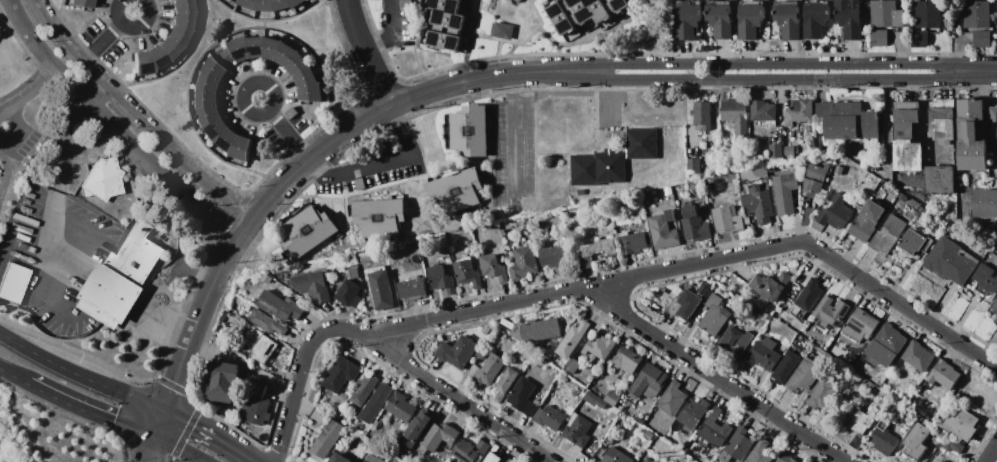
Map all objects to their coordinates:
road: (2, 0)
building: (236, 1)
building: (517, 1)
building: (296, 2)
building: (80, 3)
building: (248, 3)
building: (281, 4)
building: (406, 4)
building: (619, 4)
road: (139, 5)
building: (265, 5)
building: (305, 5)
building: (182, 6)
building: (590, 9)
building: (448, 13)
building: (886, 14)
building: (928, 14)
building: (976, 15)
building: (996, 16)
building: (561, 18)
building: (850, 18)
building: (815, 19)
building: (182, 20)
building: (789, 20)
building: (688, 21)
building: (721, 21)
building: (751, 21)
road: (391, 31)
building: (503, 31)
building: (177, 35)
road: (107, 36)
building: (879, 38)
building: (918, 39)
building: (982, 39)
building: (444, 40)
building: (255, 46)
building: (167, 48)
building: (238, 48)
building: (270, 48)
building: (285, 53)
road: (367, 55)
building: (155, 57)
building: (225, 57)
building: (141, 63)
park: (11, 64)
building: (297, 64)
building: (214, 68)
road: (602, 72)
building: (305, 77)
building: (209, 83)
building: (310, 92)
road: (26, 96)
building: (207, 99)
building: (763, 111)
building: (799, 112)
building: (291, 113)
building: (993, 114)
building: (209, 115)
building: (701, 115)
road: (135, 117)
building: (736, 117)
building: (846, 120)
building: (904, 120)
road: (114, 127)
building: (217, 129)
road: (66, 130)
road: (284, 130)
building: (469, 131)
building: (944, 134)
building: (971, 136)
building: (228, 139)
road: (512, 139)
building: (641, 144)
building: (241, 148)
building: (775, 151)
building: (789, 151)
road: (4, 154)
building: (908, 156)
building: (841, 161)
road: (379, 163)
building: (693, 166)
building: (597, 168)
building: (818, 171)
building: (763, 173)
building: (101, 180)
building: (940, 180)
building: (360, 184)
building: (884, 184)
building: (812, 187)
building: (668, 191)
building: (784, 192)
building: (457, 193)
building: (645, 195)
building: (902, 196)
building: (758, 203)
building: (985, 203)
building: (922, 210)
building: (836, 213)
building: (946, 213)
building: (378, 218)
building: (727, 219)
building: (746, 219)
building: (866, 220)
building: (511, 223)
building: (421, 224)
building: (694, 224)
road: (246, 228)
building: (949, 229)
building: (663, 230)
building: (309, 231)
building: (887, 235)
building: (914, 241)
building: (423, 242)
building: (632, 242)
road: (47, 247)
building: (597, 251)
building: (134, 255)
building: (553, 257)
building: (950, 262)
building: (523, 263)
building: (493, 267)
building: (354, 273)
building: (467, 273)
road: (196, 274)
building: (986, 278)
building: (266, 279)
building: (441, 279)
building: (802, 279)
road: (607, 283)
building: (12, 285)
building: (312, 285)
building: (771, 285)
building: (381, 289)
building: (411, 289)
building: (702, 289)
building: (110, 293)
building: (348, 294)
building: (809, 295)
road: (40, 301)
building: (683, 303)
building: (280, 306)
building: (995, 307)
building: (831, 312)
building: (97, 314)
building: (716, 314)
road: (198, 322)
building: (267, 322)
building: (860, 325)
road: (161, 326)
building: (797, 327)
building: (485, 330)
building: (540, 330)
building: (517, 335)
building: (572, 339)
building: (734, 342)
building: (864, 345)
building: (885, 345)
building: (601, 346)
building: (484, 348)
building: (264, 349)
building: (457, 352)
building: (764, 354)
building: (917, 357)
building: (628, 360)
building: (572, 366)
building: (785, 367)
building: (490, 369)
road: (14, 374)
building: (341, 374)
building: (944, 374)
road: (79, 375)
building: (804, 375)
road: (720, 379)
building: (224, 382)
building: (649, 382)
building: (504, 383)
building: (364, 389)
building: (574, 391)
building: (821, 393)
building: (524, 397)
building: (592, 398)
road: (460, 399)
building: (612, 399)
building: (672, 399)
building: (376, 402)
building: (257, 403)
building: (401, 407)
road: (91, 408)
traffic signals: (164, 409)
building: (694, 413)
building: (549, 418)
building: (640, 418)
building: (858, 420)
road: (158, 422)
building: (962, 425)
building: (417, 428)
building: (715, 428)
building: (578, 432)
road: (206, 435)
building: (439, 435)
building: (647, 435)
traffic signals: (153, 436)
building: (328, 439)
building: (916, 440)
building: (855, 441)
building: (883, 441)
building: (952, 445)
building: (736, 446)
road: (159, 447)
road: (180, 447)
road: (145, 448)
building: (421, 450)
building: (471, 451)
building: (760, 452)
road: (992, 454)
building: (616, 456)
building: (785, 457)
building: (340, 458)
building: (492, 458)
road: (164, 460)
building: (508, 460)
building: (647, 460)
building: (673, 461)
building: (940, 461)
building: (942, 461)

